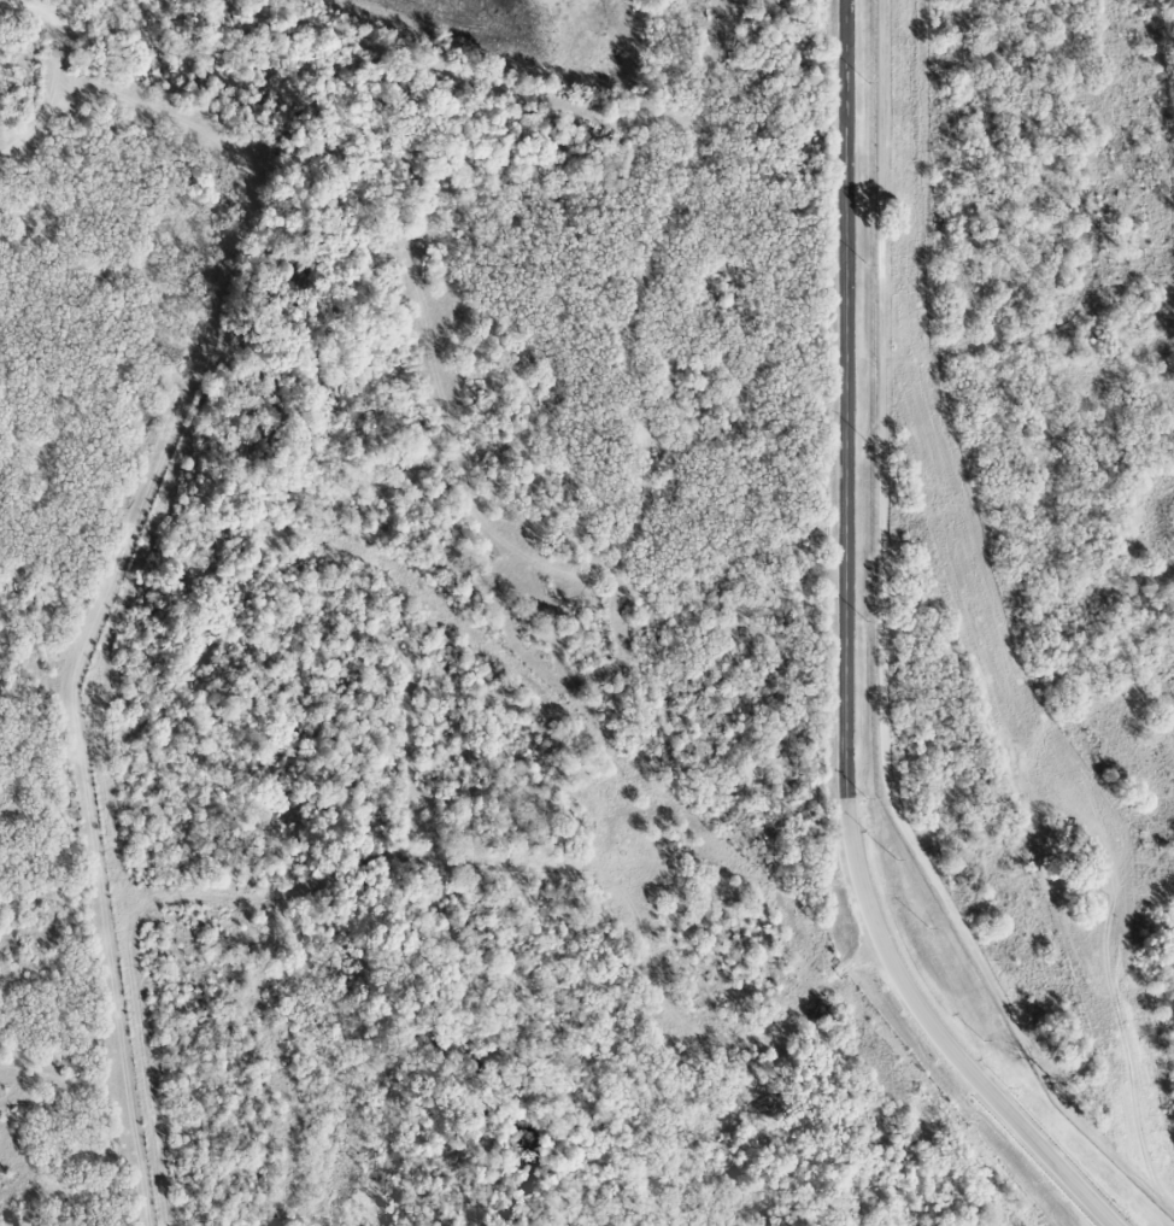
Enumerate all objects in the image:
road: (973, 350)
road: (884, 655)
road: (844, 657)

